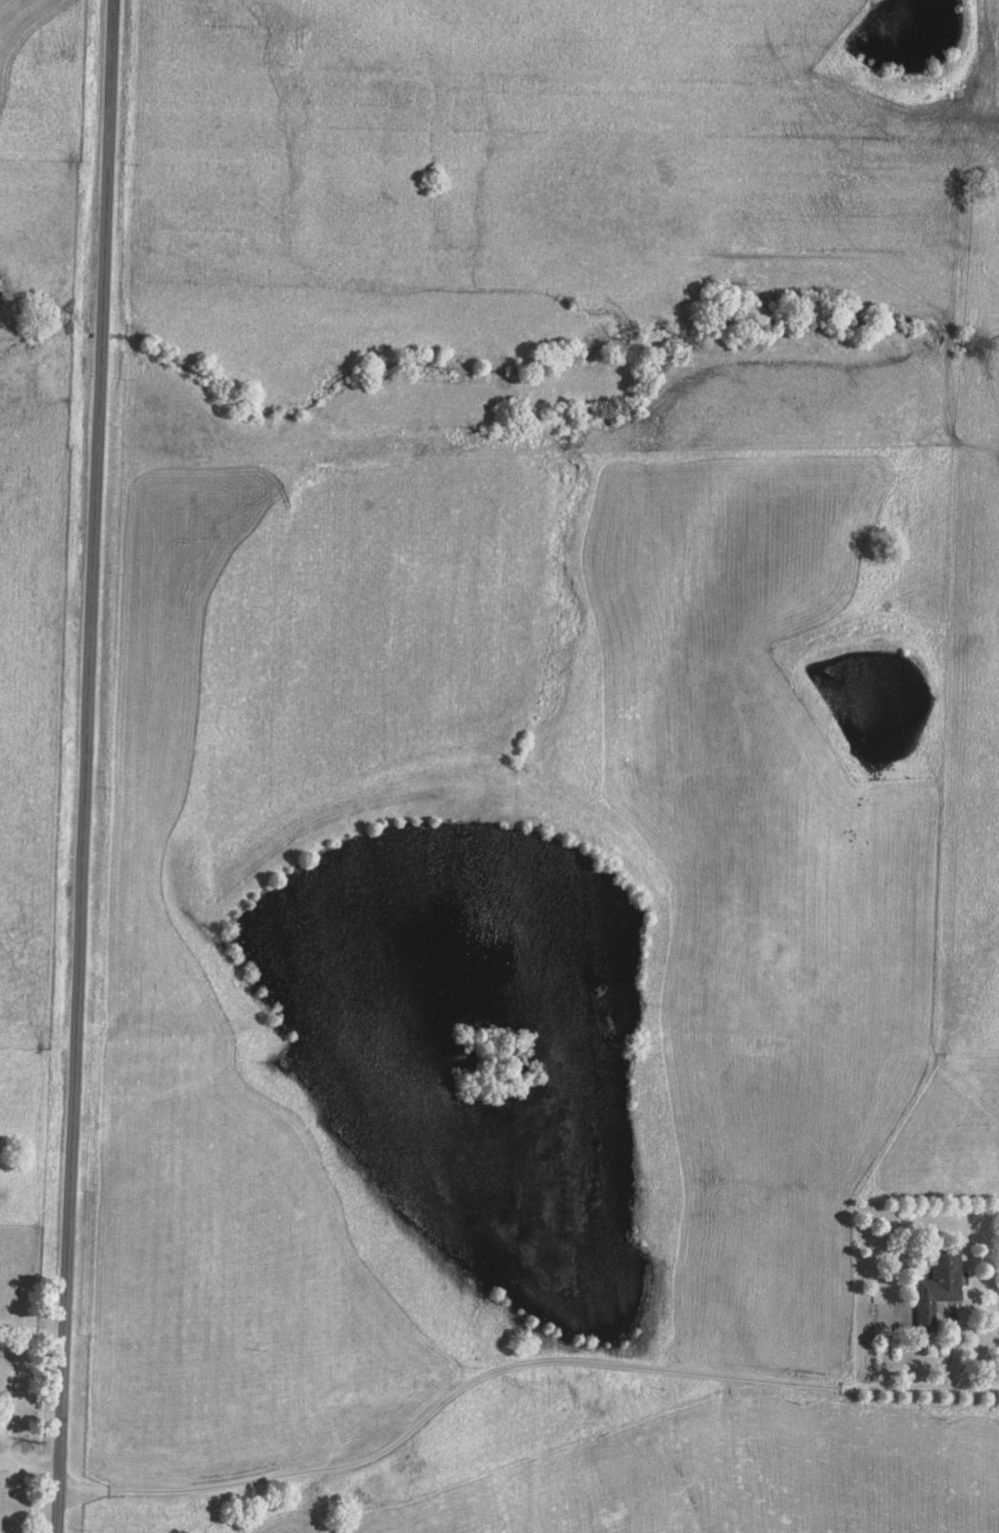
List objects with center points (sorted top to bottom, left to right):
road: (85, 766)
building: (935, 1286)

